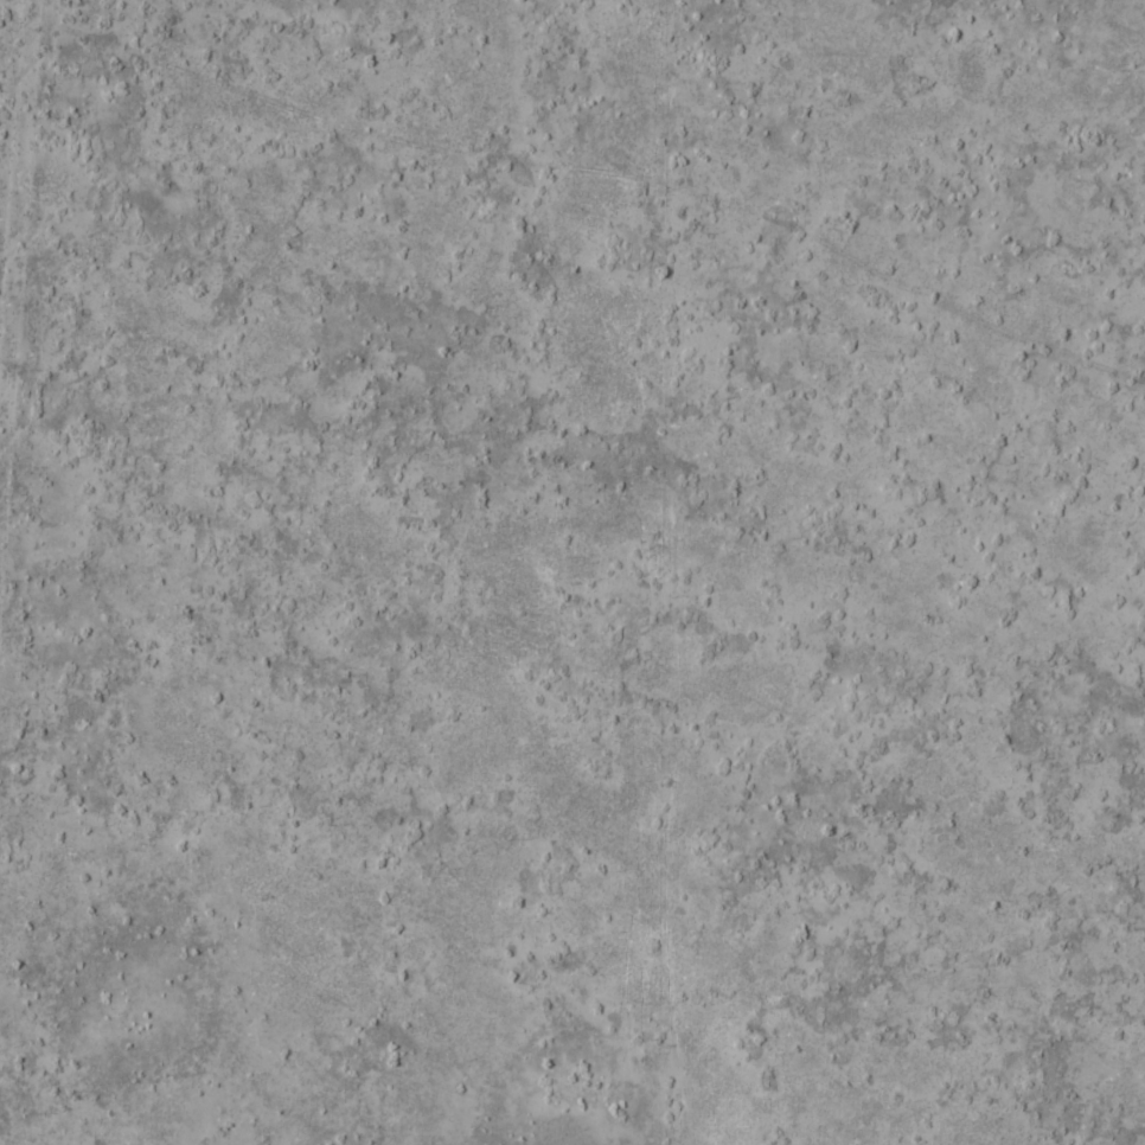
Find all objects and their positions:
road: (6, 82)

